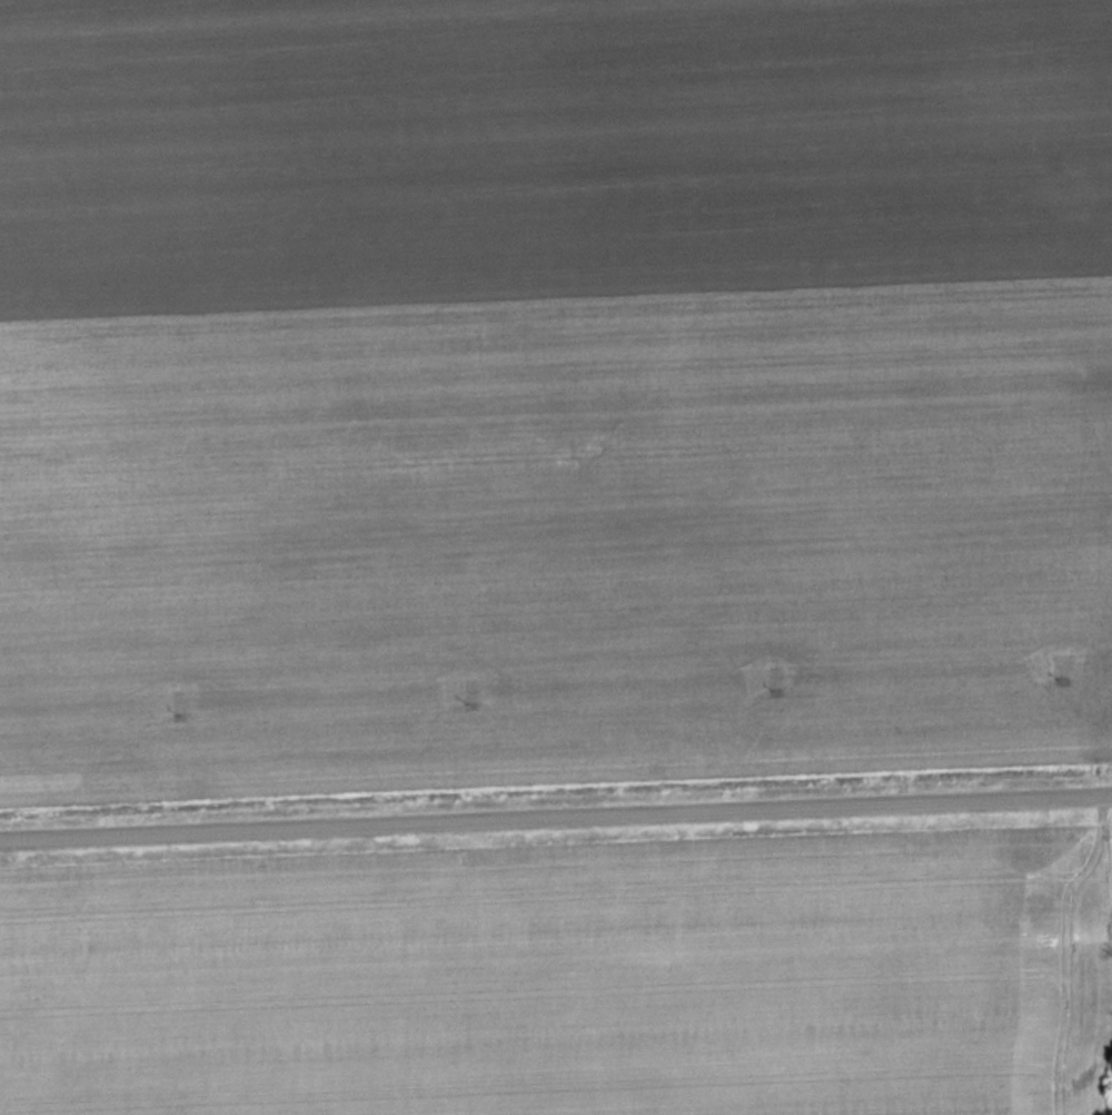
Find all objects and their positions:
road: (556, 816)

